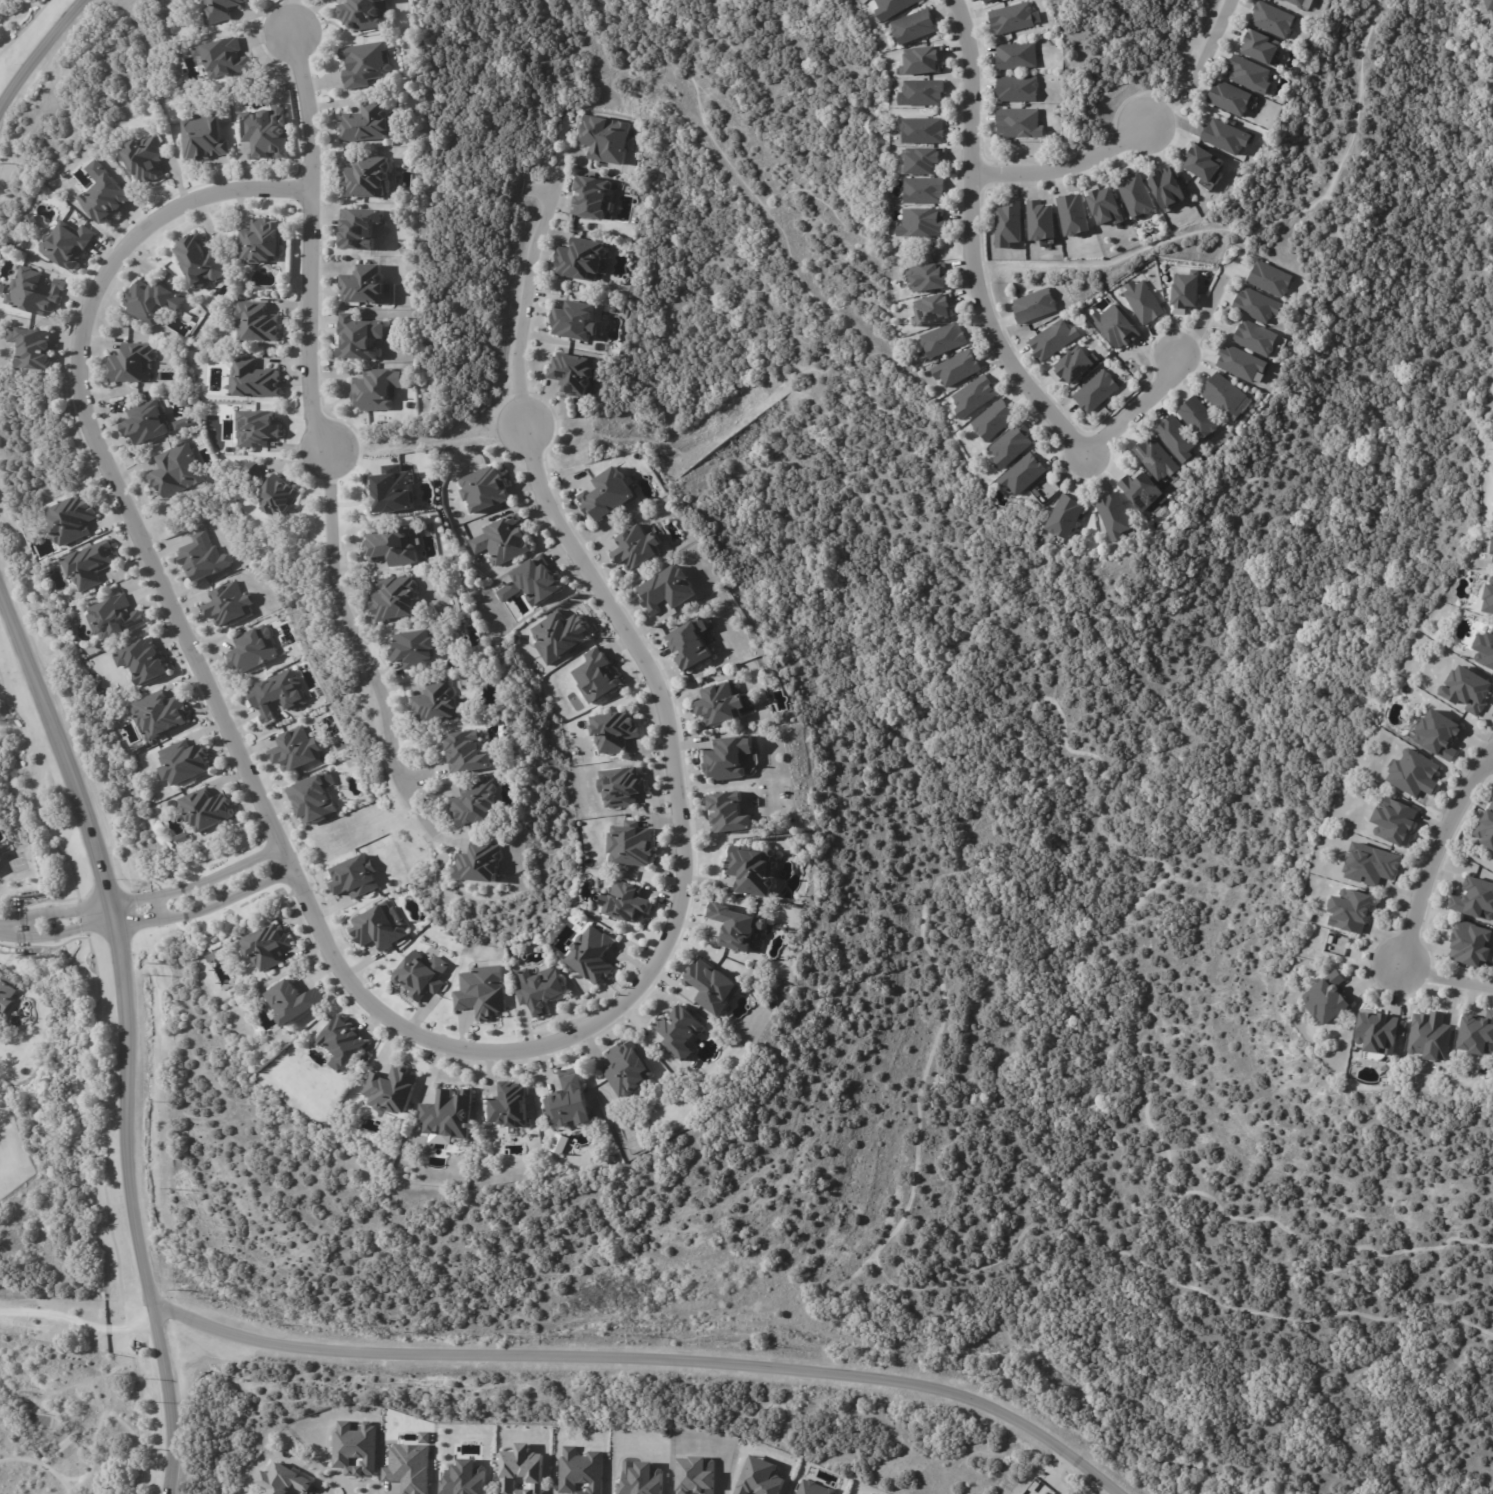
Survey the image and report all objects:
building: (985, 0)
building: (989, 1)
building: (1294, 2)
building: (1303, 2)
building: (894, 7)
building: (1490, 7)
building: (221, 10)
building: (362, 14)
road: (292, 16)
building: (1271, 17)
building: (1014, 18)
building: (915, 26)
building: (1258, 43)
building: (1018, 55)
building: (223, 58)
building: (924, 61)
road: (45, 62)
building: (362, 62)
road: (1192, 71)
building: (1248, 73)
building: (1019, 89)
building: (924, 93)
building: (1231, 97)
building: (364, 121)
building: (1022, 123)
building: (925, 131)
building: (265, 132)
building: (1229, 137)
building: (203, 138)
building: (604, 138)
building: (145, 158)
building: (926, 160)
building: (1207, 165)
road: (1060, 170)
building: (364, 174)
building: (1167, 187)
building: (922, 189)
building: (1137, 195)
building: (104, 196)
building: (592, 197)
building: (1105, 205)
building: (1075, 215)
building: (920, 221)
building: (1043, 221)
building: (1011, 224)
building: (356, 225)
building: (260, 242)
road: (309, 243)
building: (67, 244)
building: (581, 257)
building: (201, 261)
building: (927, 275)
building: (1273, 279)
building: (363, 285)
building: (35, 293)
road: (524, 293)
building: (1186, 293)
building: (152, 301)
building: (1145, 302)
building: (1032, 304)
building: (1259, 306)
building: (935, 310)
road: (984, 315)
road: (1204, 315)
building: (575, 319)
building: (256, 322)
building: (1117, 327)
building: (1052, 337)
building: (359, 338)
building: (1259, 338)
building: (945, 340)
building: (31, 348)
building: (1244, 363)
building: (132, 364)
building: (1072, 364)
building: (958, 368)
building: (570, 369)
building: (253, 380)
building: (376, 391)
building: (1098, 392)
building: (1225, 395)
building: (975, 397)
building: (68, 412)
building: (1193, 414)
building: (996, 421)
building: (145, 424)
building: (253, 426)
building: (557, 437)
building: (1176, 437)
building: (1013, 444)
building: (1153, 456)
building: (177, 472)
building: (253, 473)
building: (1024, 475)
building: (482, 488)
building: (1141, 489)
building: (393, 491)
building: (1046, 491)
building: (605, 494)
building: (278, 498)
building: (1114, 514)
building: (1064, 516)
building: (71, 521)
building: (499, 539)
building: (390, 544)
building: (635, 547)
building: (1491, 555)
building: (203, 557)
building: (90, 565)
building: (537, 579)
building: (669, 587)
building: (1489, 596)
building: (395, 600)
building: (229, 605)
building: (114, 619)
building: (560, 635)
road: (353, 641)
building: (691, 642)
building: (253, 649)
building: (414, 651)
building: (1485, 651)
building: (142, 663)
building: (597, 675)
building: (1466, 689)
building: (278, 696)
building: (437, 703)
building: (721, 703)
building: (160, 715)
building: (614, 731)
building: (1439, 735)
building: (294, 749)
building: (467, 755)
building: (726, 757)
road: (1491, 758)
building: (183, 762)
building: (1415, 773)
building: (622, 785)
building: (313, 797)
building: (476, 805)
building: (205, 809)
building: (729, 812)
building: (1397, 823)
building: (1487, 831)
building: (631, 844)
road: (1437, 856)
building: (1371, 866)
building: (482, 867)
building: (750, 869)
building: (354, 876)
building: (624, 901)
building: (1476, 902)
road: (145, 909)
building: (1351, 910)
building: (380, 926)
building: (737, 926)
building: (1339, 942)
building: (268, 946)
building: (1472, 946)
road: (332, 954)
building: (590, 954)
building: (420, 975)
road: (1445, 977)
building: (712, 986)
building: (538, 989)
building: (6, 992)
building: (482, 992)
building: (1330, 1000)
building: (292, 1001)
road: (124, 1021)
building: (681, 1031)
building: (1381, 1034)
building: (1478, 1036)
building: (1431, 1038)
building: (342, 1043)
building: (627, 1069)
building: (391, 1090)
building: (568, 1100)
building: (509, 1105)
building: (448, 1114)
building: (438, 1138)
building: (557, 1143)
road: (650, 1359)
building: (354, 1448)
building: (408, 1467)
building: (521, 1471)
building: (580, 1471)
building: (695, 1475)
building: (759, 1477)
building: (463, 1478)
building: (640, 1478)
building: (284, 1481)
building: (812, 1488)

